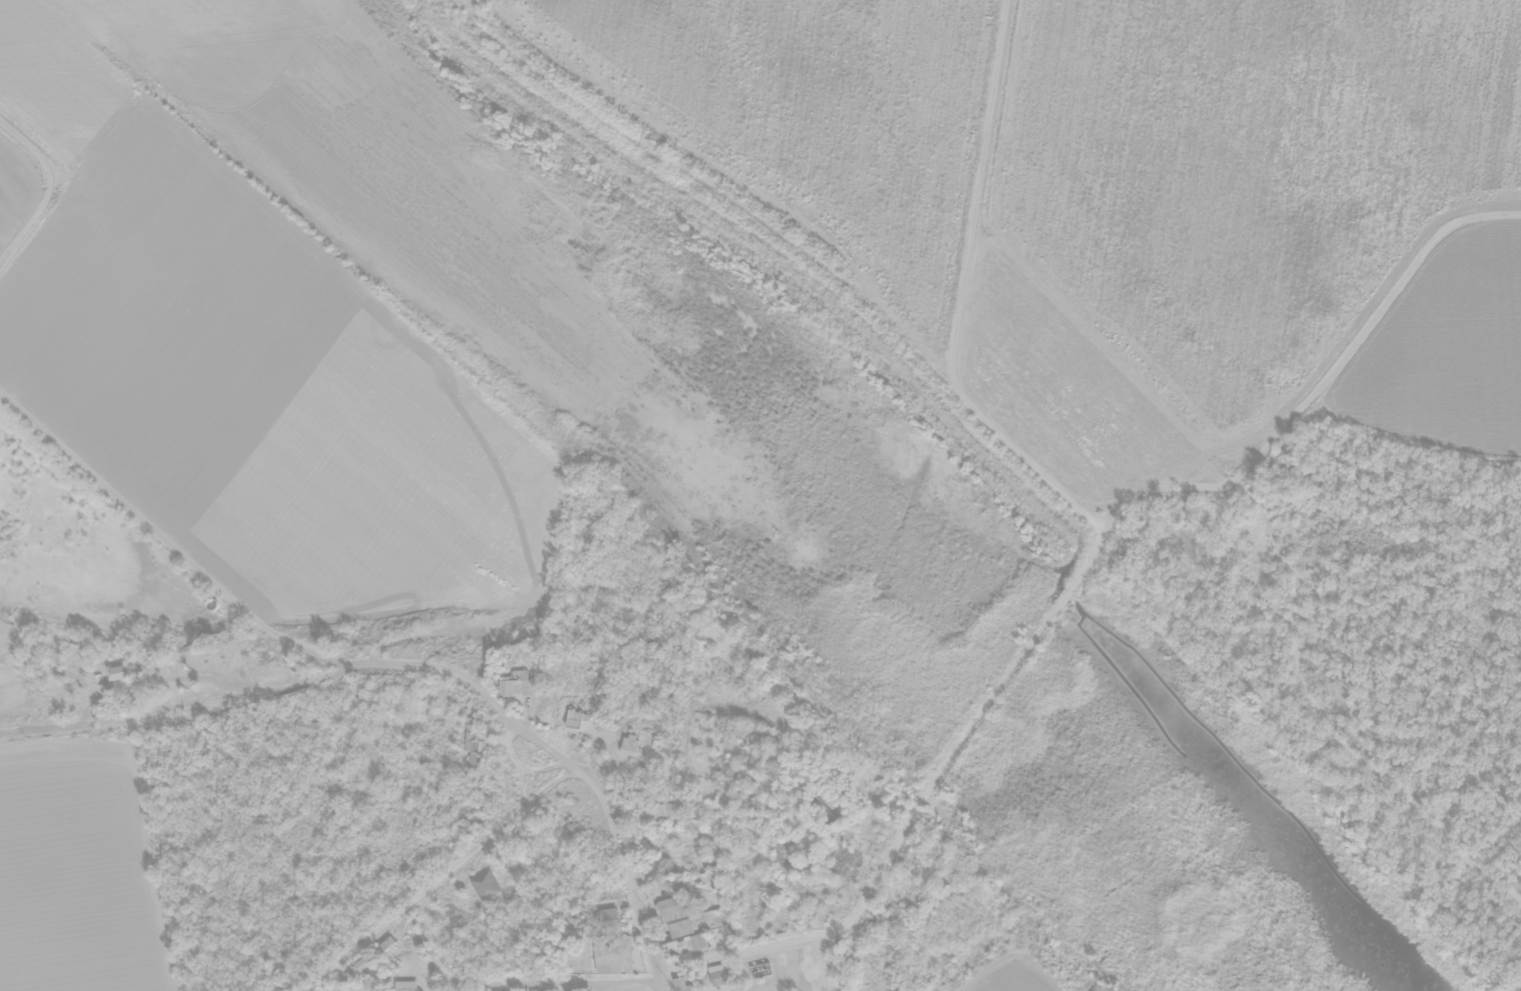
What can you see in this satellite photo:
road: (54, 187)
road: (1050, 479)
road: (181, 546)

